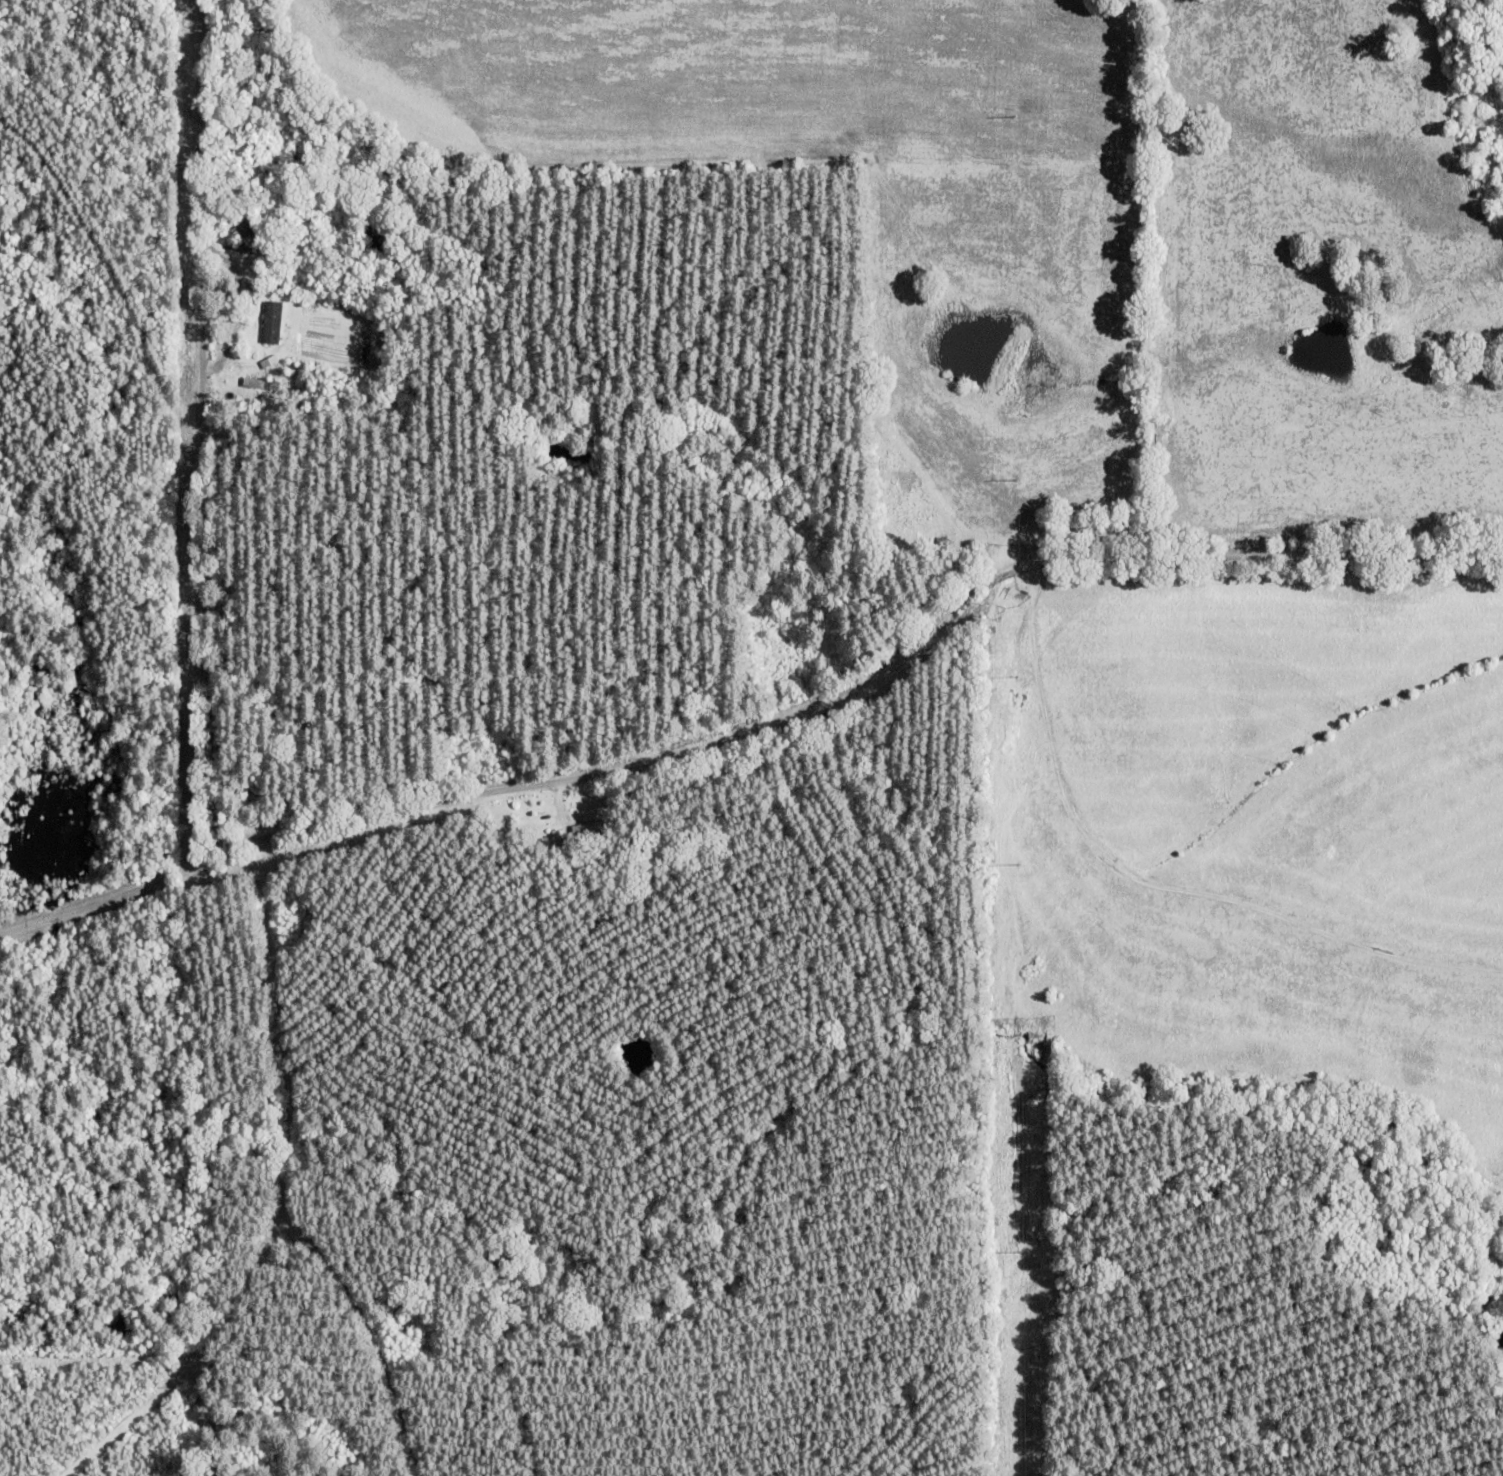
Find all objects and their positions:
building: (244, 231)
building: (270, 321)
road: (201, 426)
road: (764, 730)
building: (588, 829)

